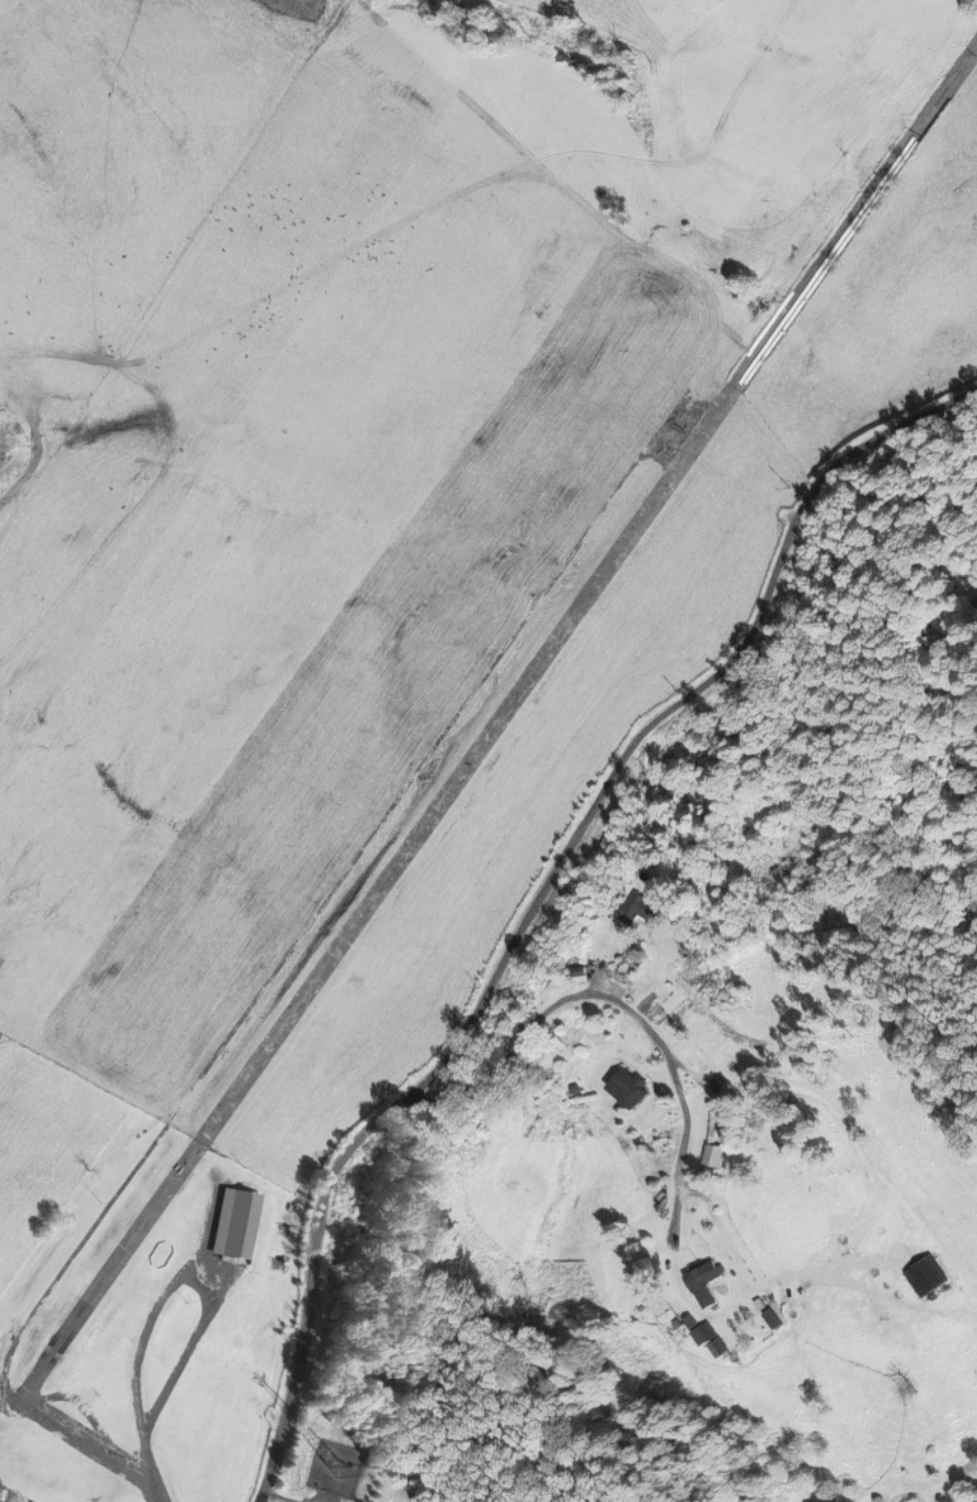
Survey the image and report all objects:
road: (544, 897)
building: (641, 910)
road: (615, 999)
building: (712, 1155)
building: (234, 1222)
building: (927, 1276)
building: (705, 1282)
road: (192, 1283)
building: (705, 1333)
road: (151, 1465)

